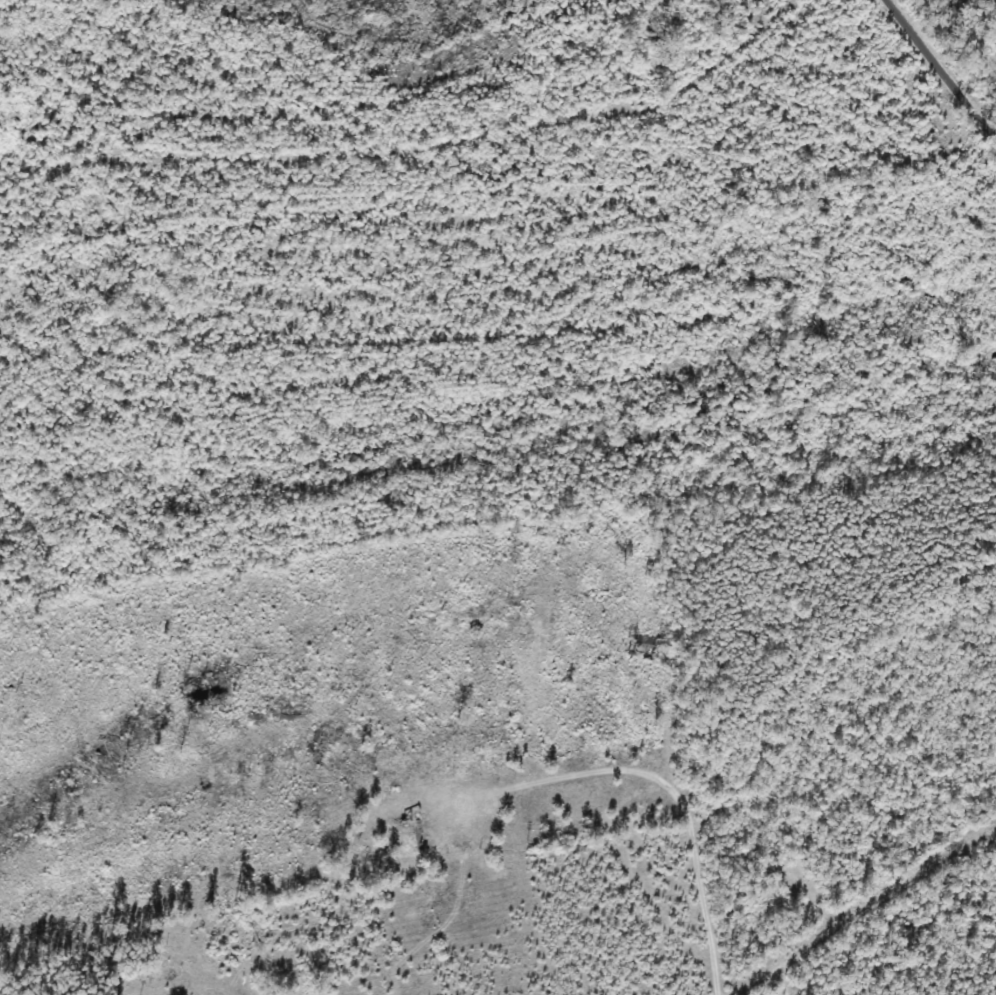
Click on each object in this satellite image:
road: (945, 67)
road: (630, 802)
road: (854, 912)

